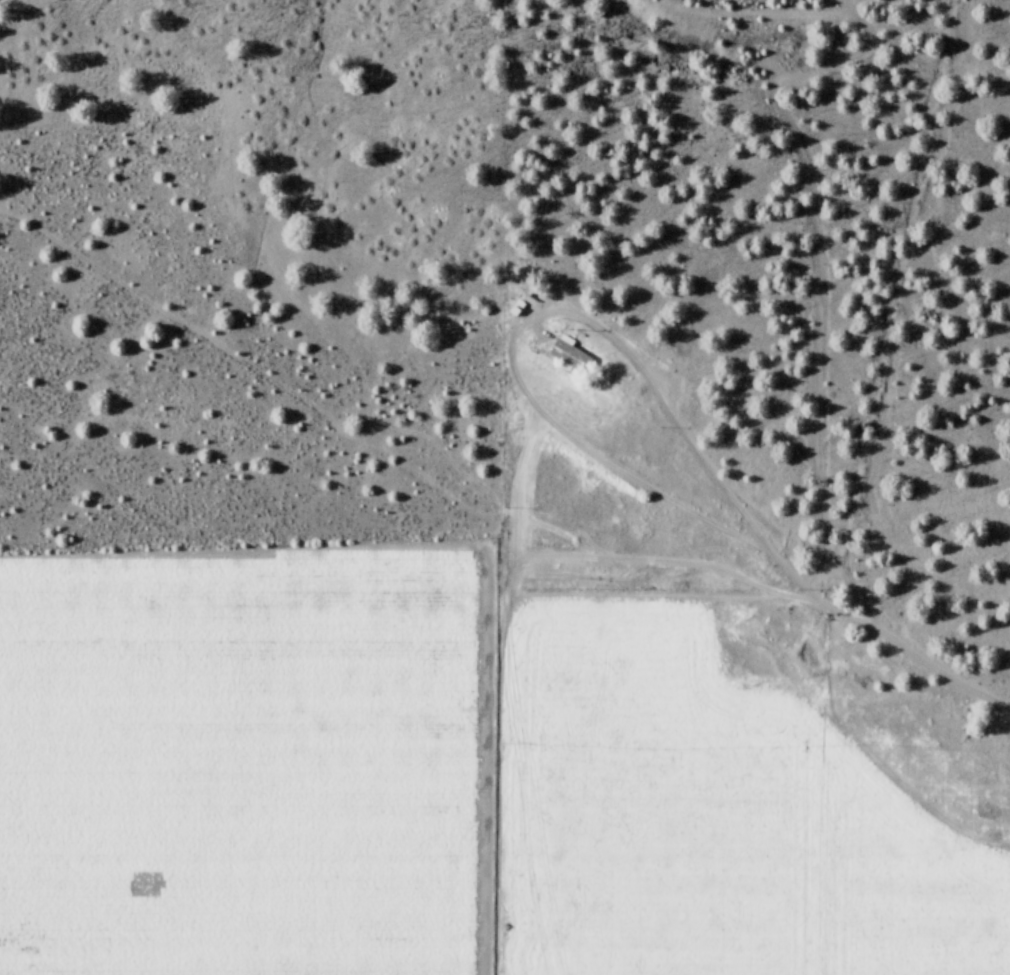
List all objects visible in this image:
road: (521, 326)
building: (566, 355)
road: (883, 638)

